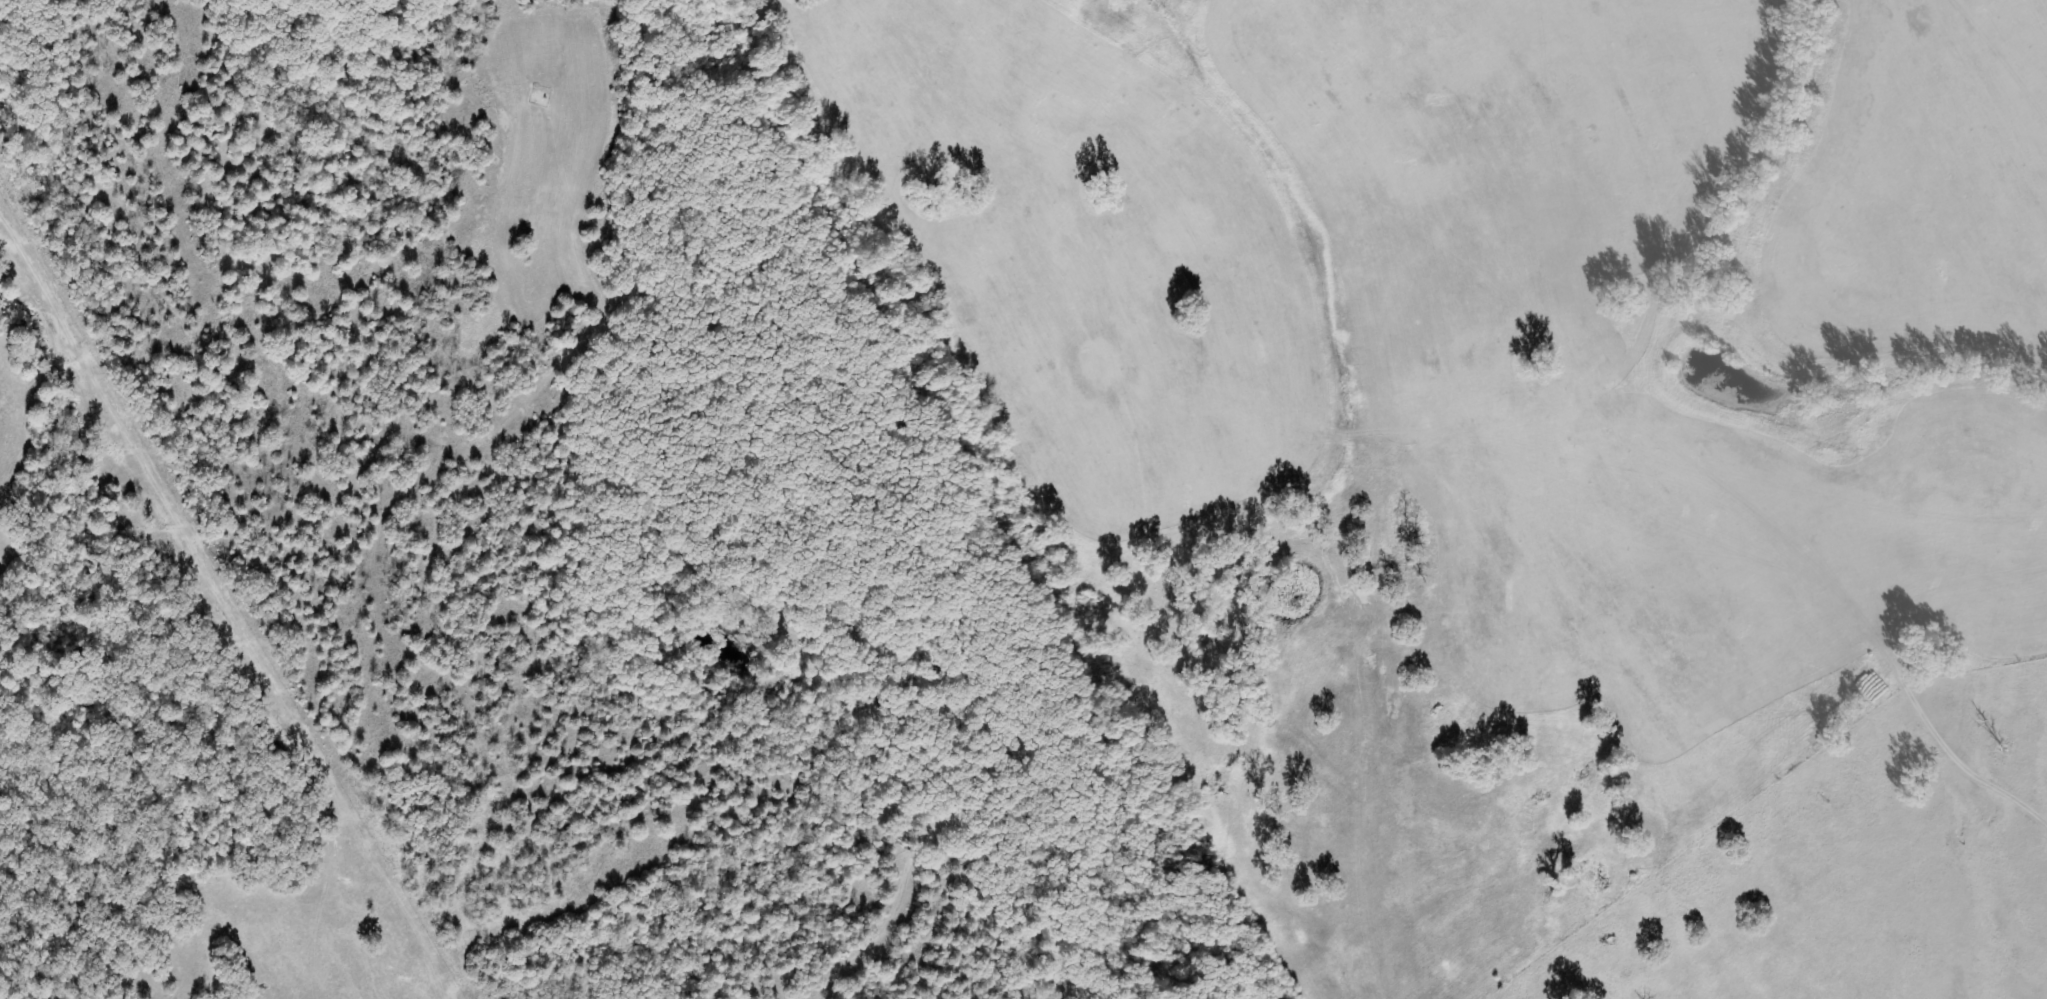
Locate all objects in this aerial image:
road: (305, 494)

